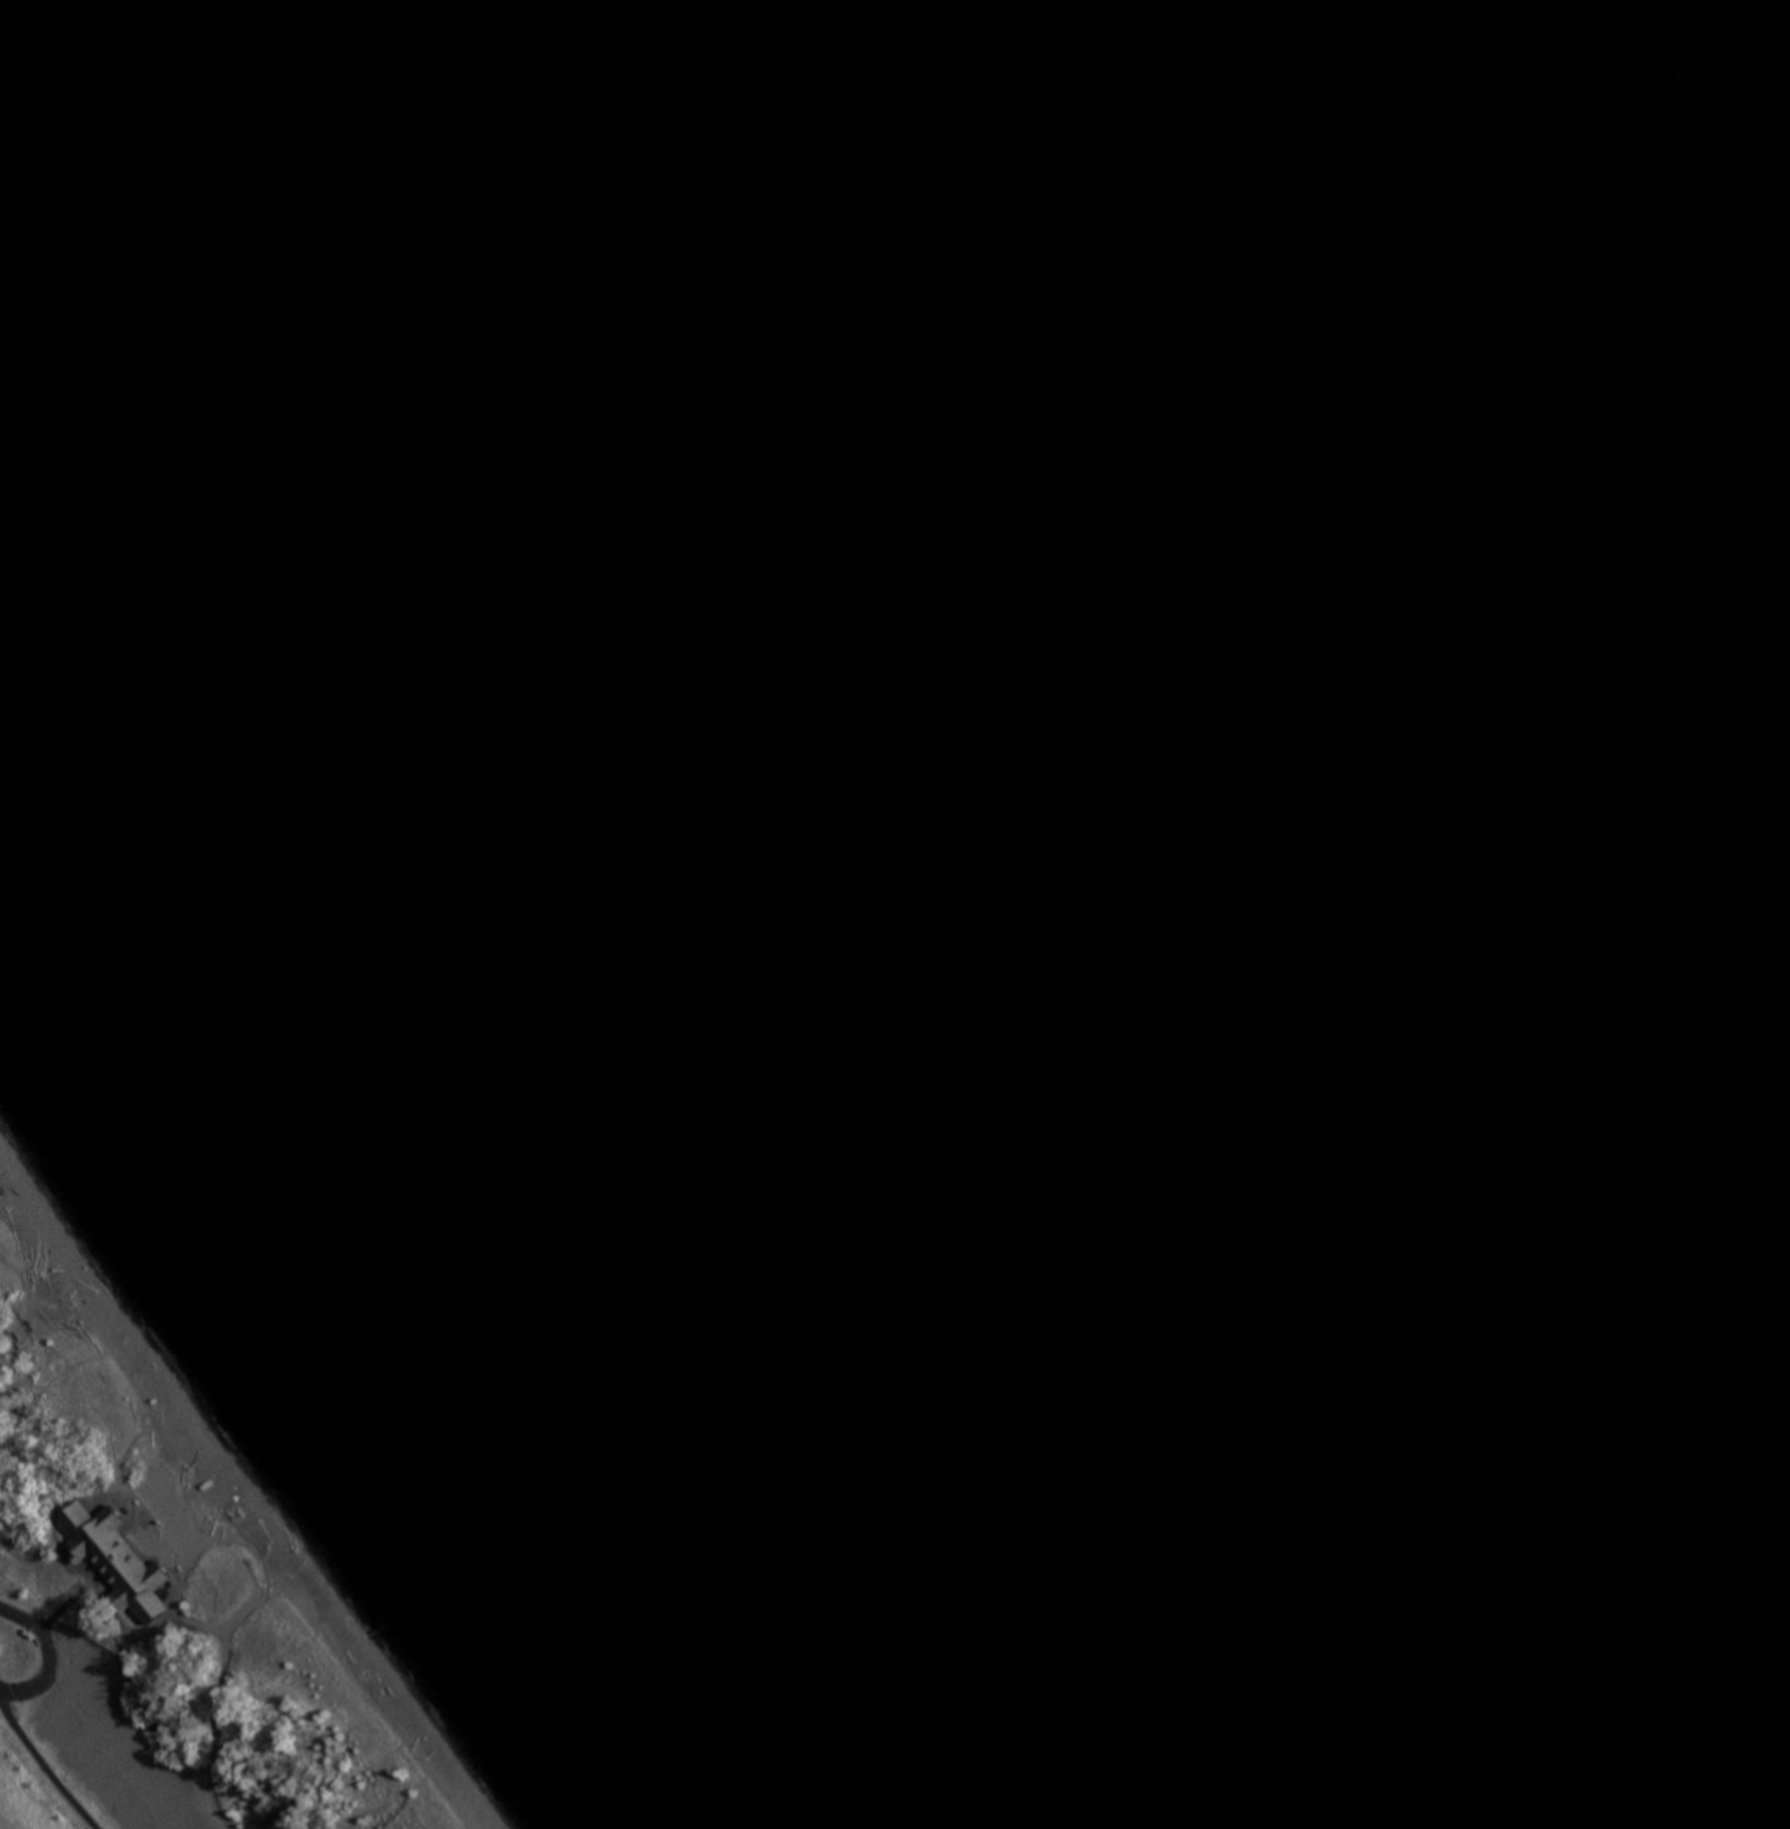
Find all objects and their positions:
building: (119, 1556)
road: (39, 1652)

